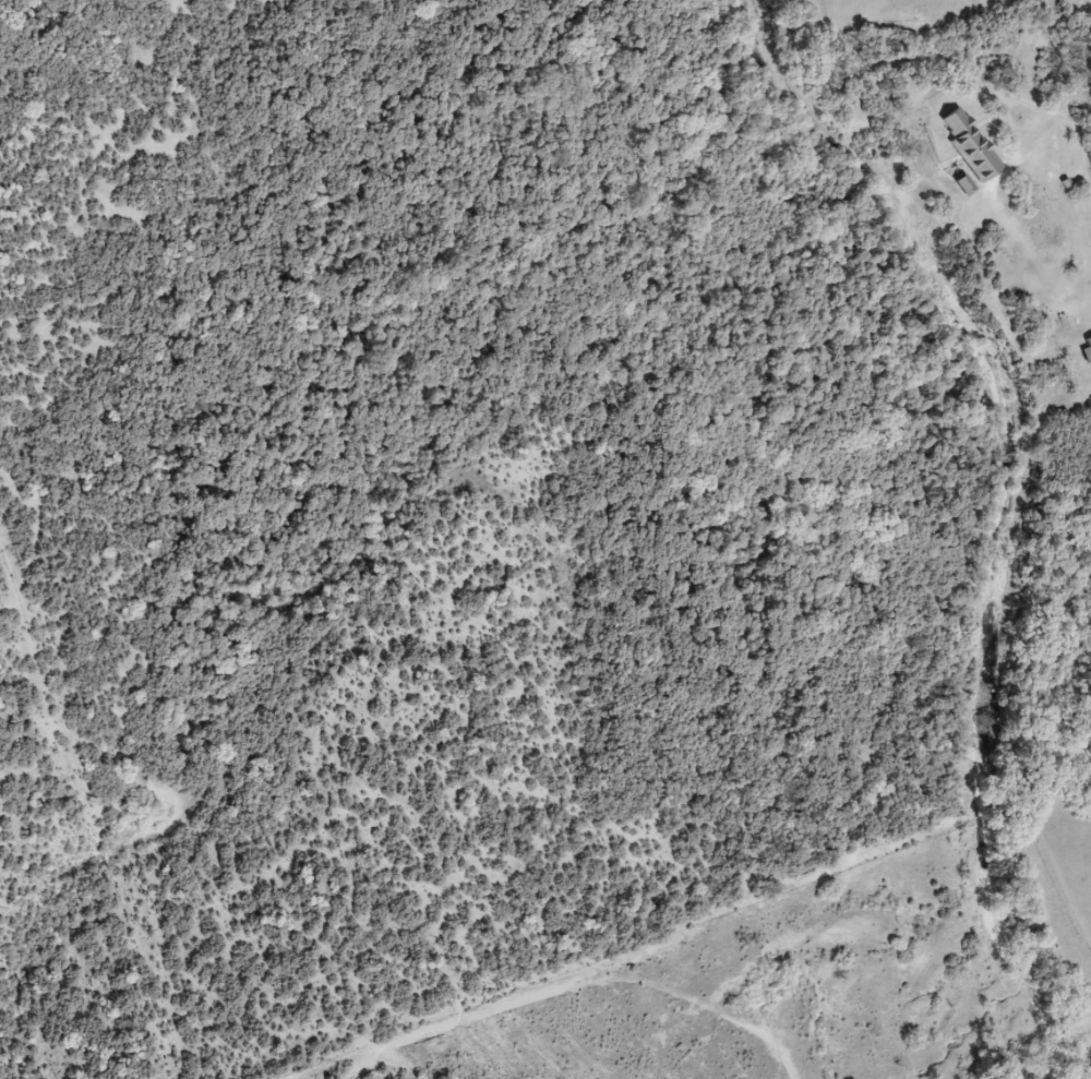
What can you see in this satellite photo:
road: (1070, 117)
building: (975, 147)
building: (1090, 343)

